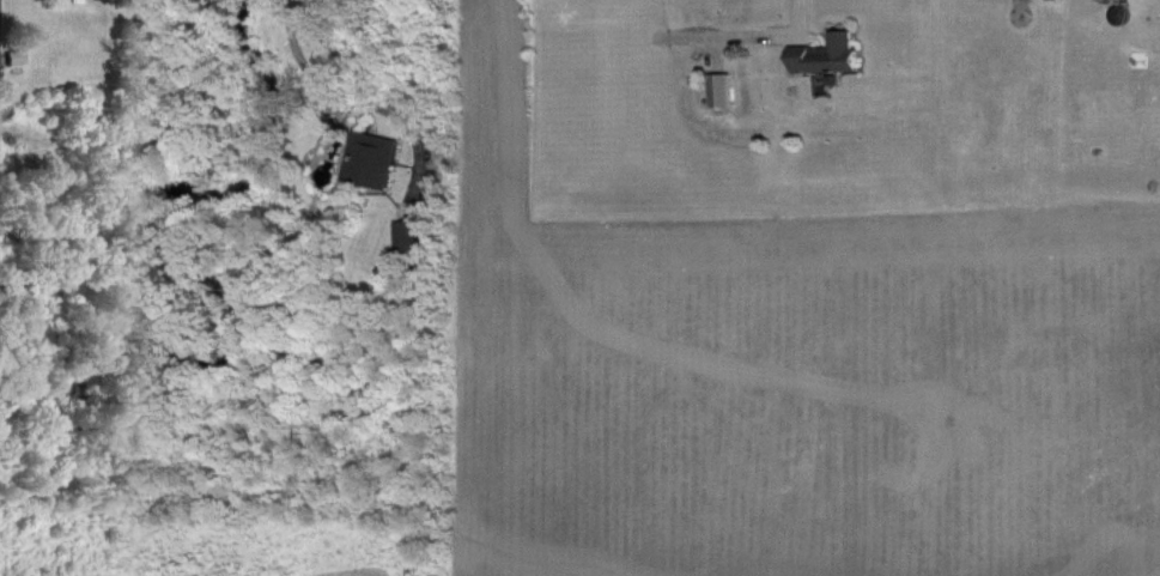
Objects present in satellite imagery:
road: (792, 13)
building: (821, 51)
building: (11, 54)
road: (305, 60)
building: (715, 86)
building: (365, 156)

